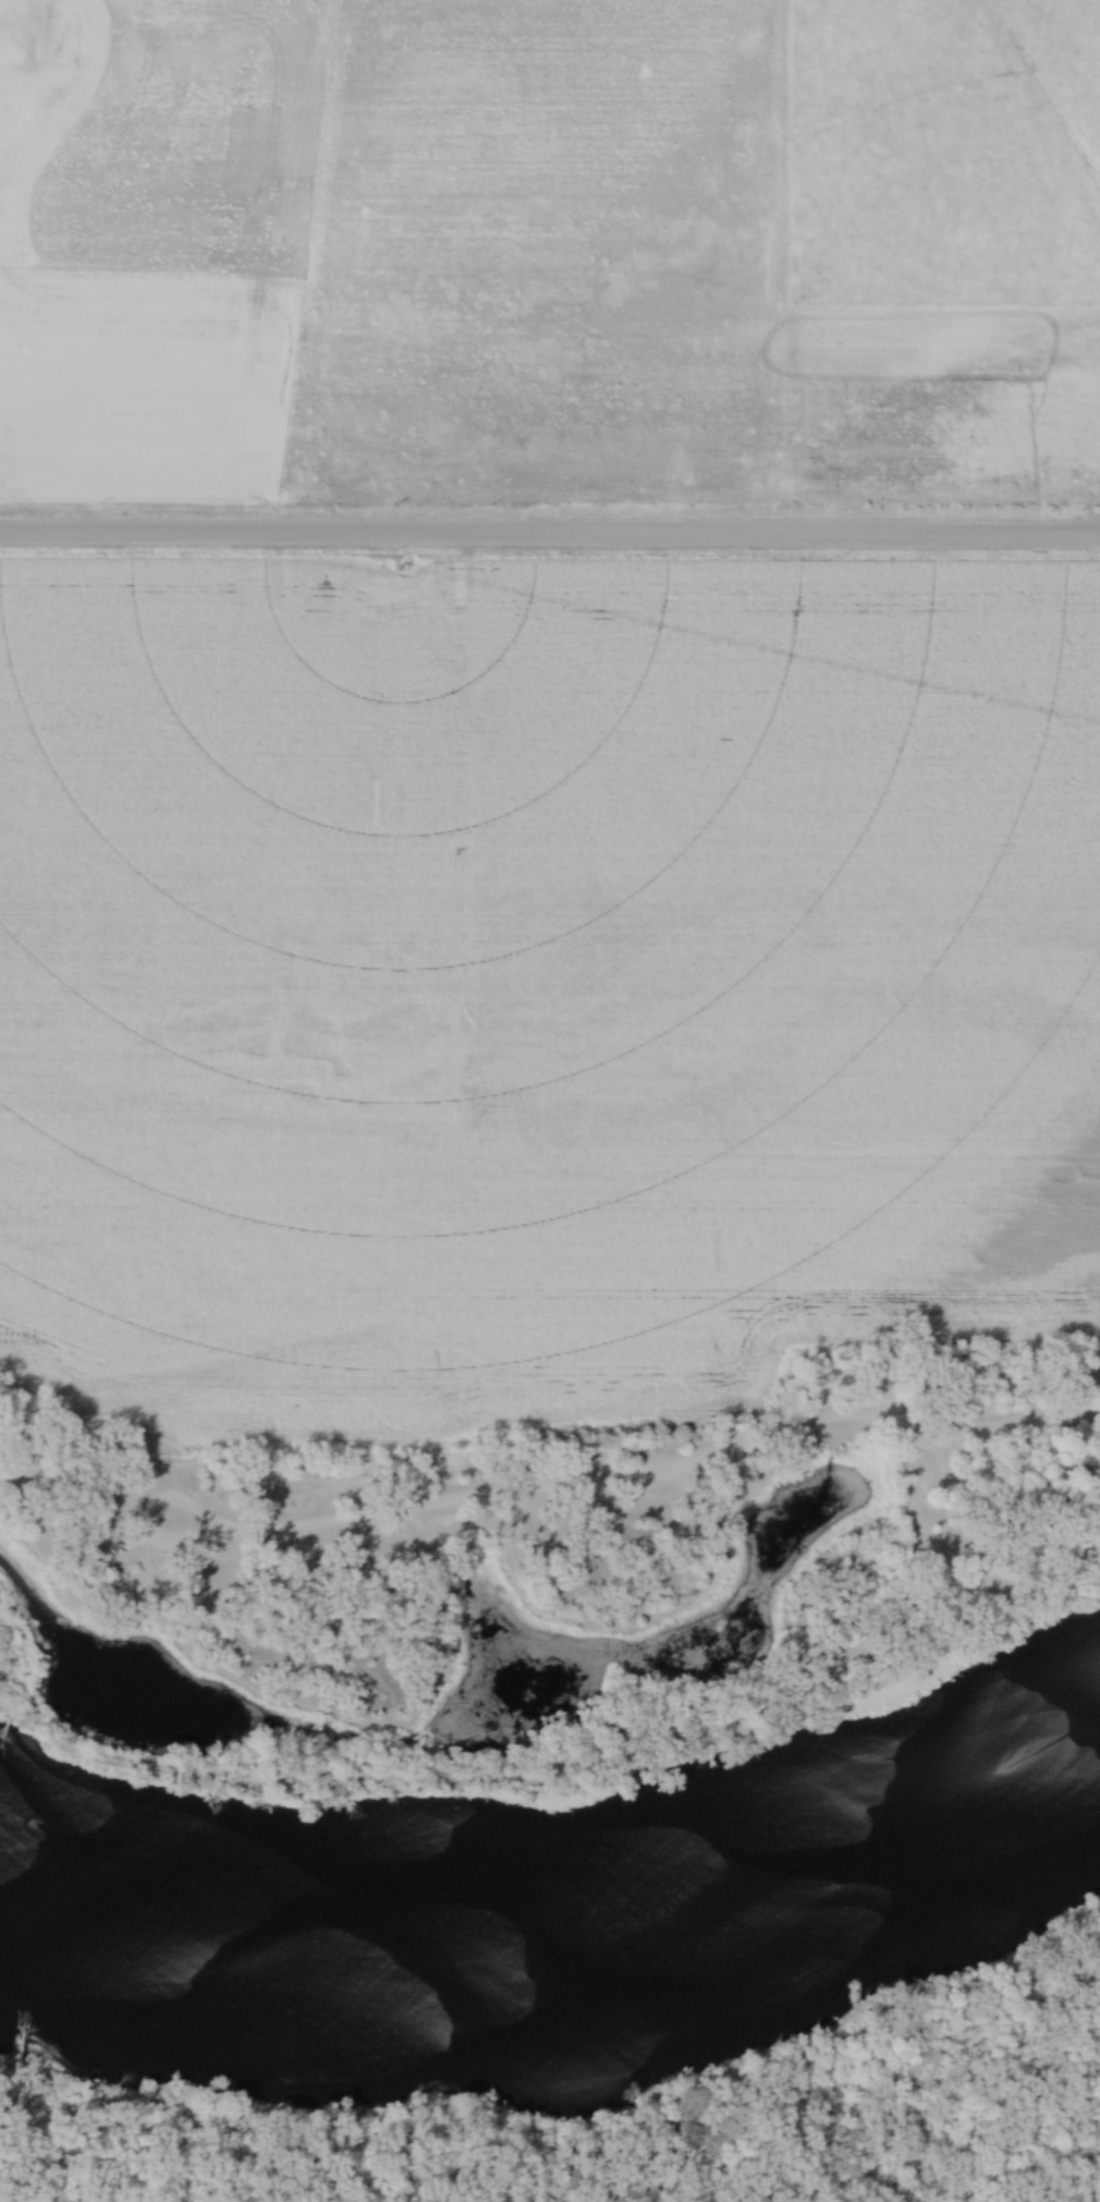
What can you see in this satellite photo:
road: (549, 540)
road: (664, 1469)
road: (176, 1503)
road: (955, 1507)
park: (549, 1581)
river: (563, 1909)

